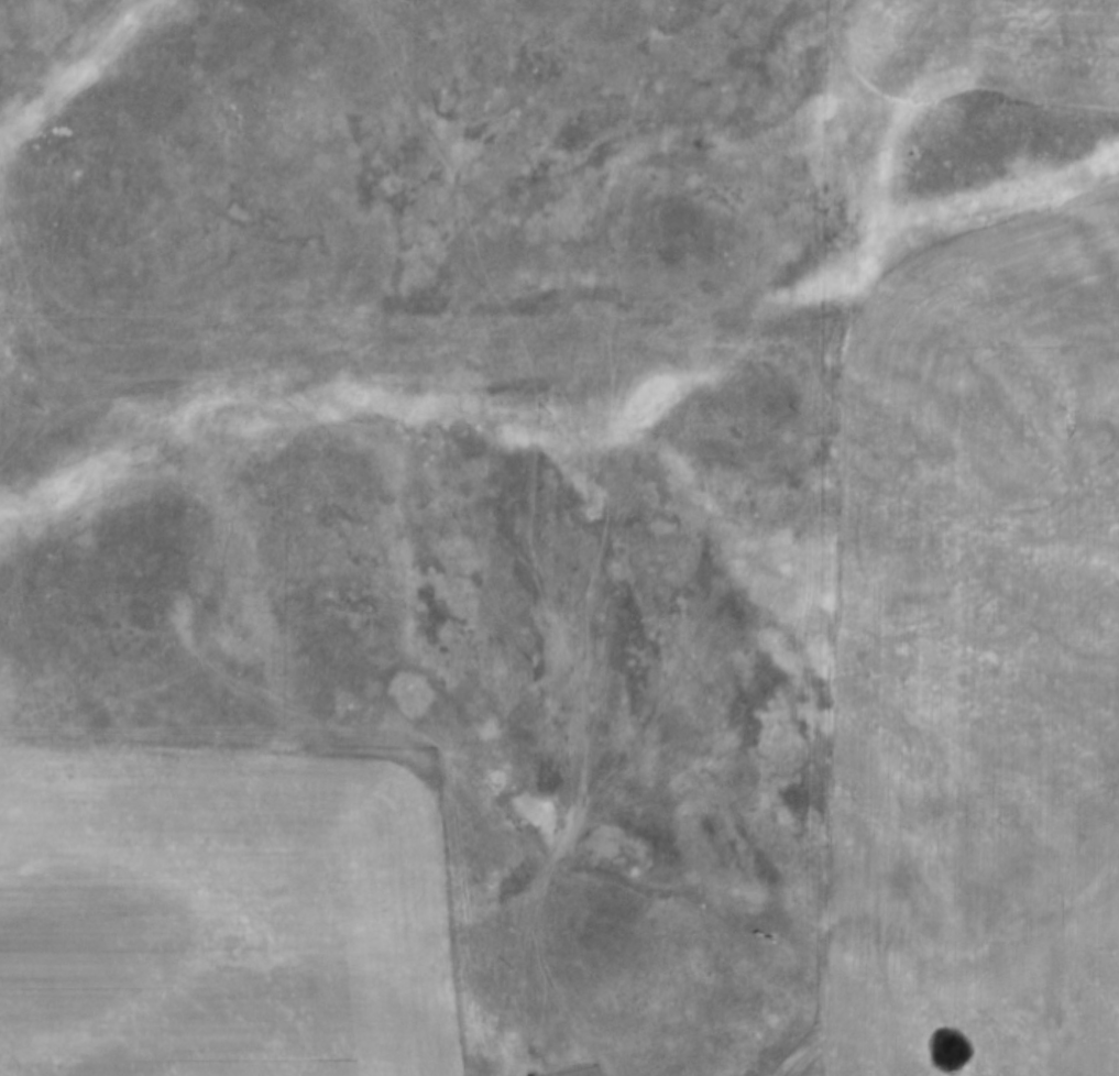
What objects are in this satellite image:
road: (797, 1055)

